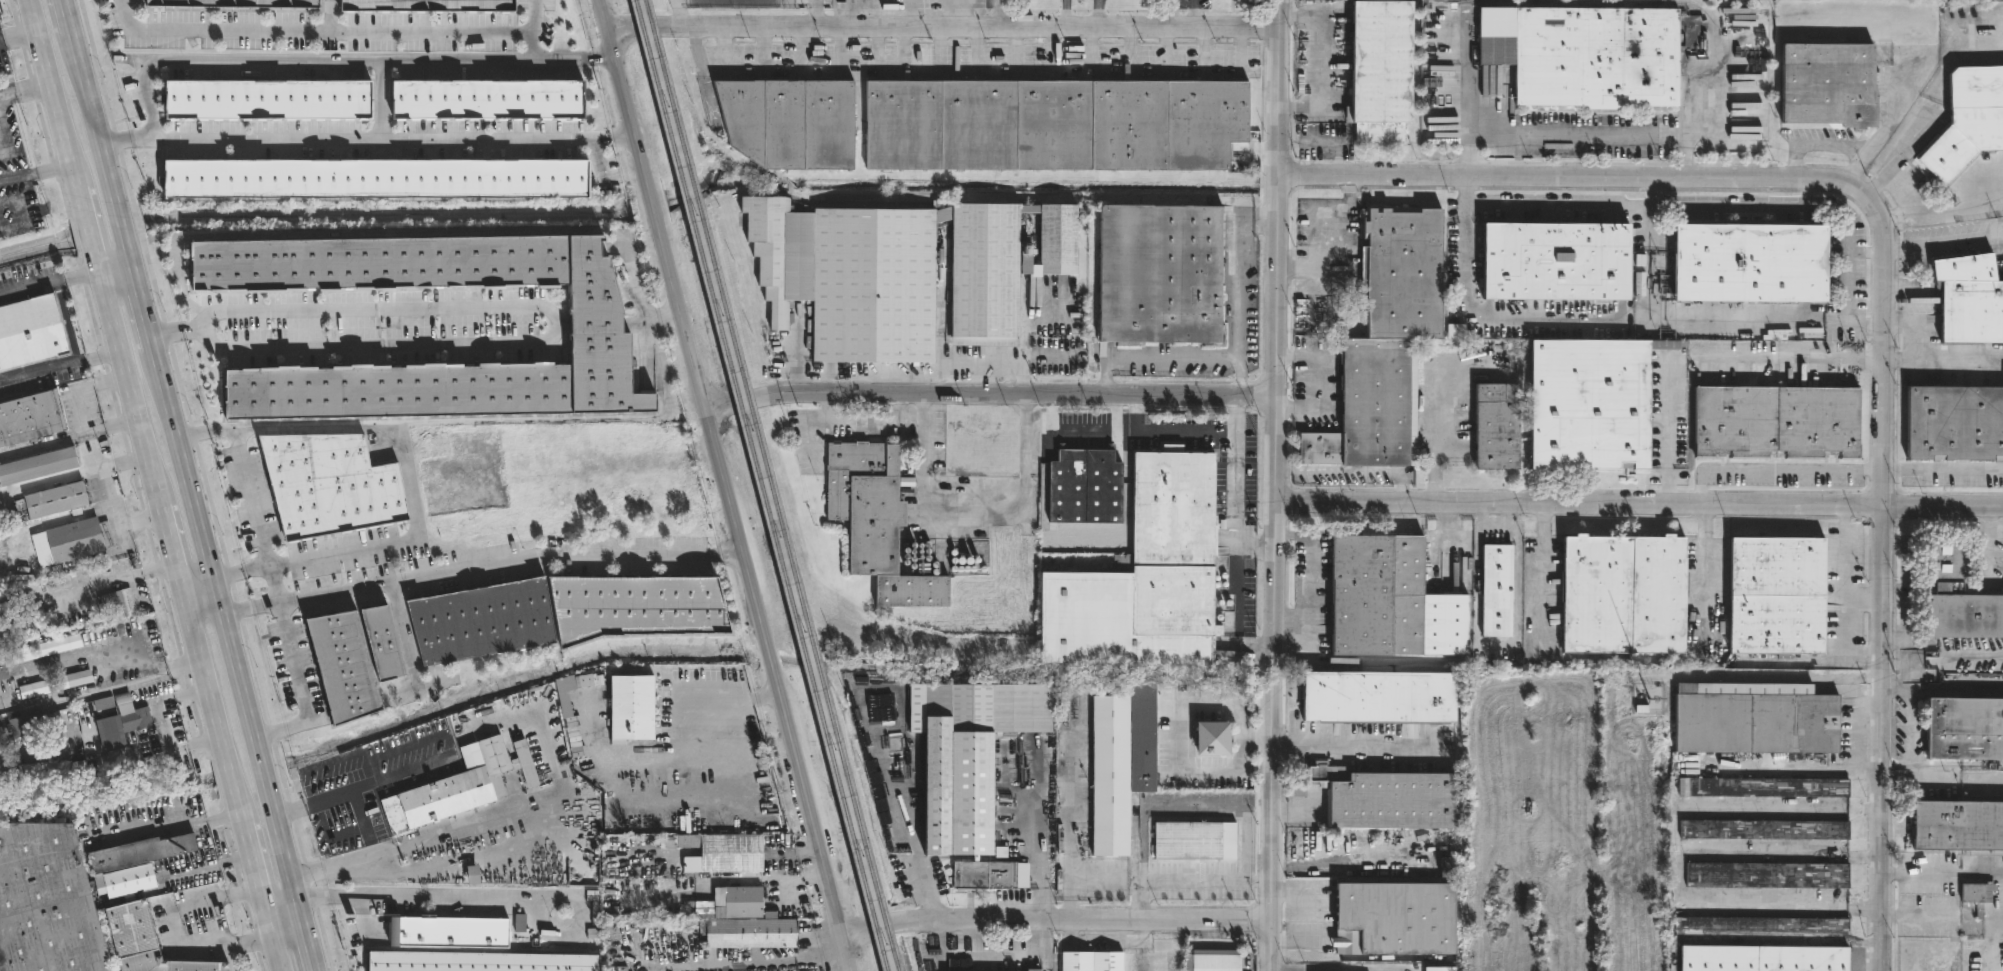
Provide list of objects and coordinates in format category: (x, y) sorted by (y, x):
park: (732, 2)
building: (238, 3)
building: (430, 5)
road: (678, 13)
road: (816, 13)
road: (997, 14)
road: (1065, 14)
road: (1100, 15)
road: (1169, 15)
road: (1189, 15)
road: (66, 16)
road: (945, 29)
road: (231, 31)
road: (430, 31)
road: (940, 46)
road: (762, 47)
road: (841, 47)
road: (878, 47)
road: (975, 47)
road: (1016, 47)
road: (803, 48)
road: (903, 48)
road: (1051, 48)
road: (1091, 48)
road: (1129, 48)
road: (1166, 48)
road: (1239, 48)
road: (1205, 49)
building: (1587, 58)
road: (298, 60)
road: (572, 60)
road: (712, 69)
building: (1377, 72)
building: (1826, 85)
road: (25, 90)
road: (706, 93)
road: (52, 95)
building: (486, 97)
building: (266, 98)
building: (784, 120)
building: (1967, 120)
building: (1049, 123)
road: (1575, 136)
road: (394, 140)
road: (100, 147)
road: (35, 172)
building: (374, 178)
railway: (948, 185)
road: (1903, 193)
road: (1744, 205)
road: (1574, 206)
road: (86, 231)
road: (394, 233)
building: (1551, 260)
building: (1747, 261)
road: (1847, 266)
road: (113, 267)
building: (898, 271)
building: (1156, 273)
road: (1239, 273)
road: (48, 284)
road: (1883, 285)
building: (1969, 299)
road: (141, 305)
road: (380, 309)
road: (1476, 314)
road: (1769, 315)
building: (595, 320)
road: (622, 321)
road: (68, 322)
road: (1917, 328)
road: (175, 331)
building: (32, 332)
building: (1382, 342)
road: (381, 345)
road: (1171, 360)
road: (1943, 362)
road: (58, 366)
road: (1103, 378)
road: (1239, 378)
road: (1321, 385)
road: (126, 388)
road: (991, 395)
building: (1588, 403)
road: (895, 408)
road: (84, 412)
road: (1234, 414)
building: (33, 417)
road: (859, 421)
building: (1775, 422)
building: (1953, 422)
building: (1493, 426)
road: (1434, 432)
road: (1668, 432)
road: (44, 443)
road: (401, 446)
road: (1234, 462)
building: (40, 466)
road: (1944, 467)
road: (1351, 472)
road: (1774, 474)
building: (327, 484)
road: (726, 485)
railway: (762, 485)
railway: (772, 485)
road: (1276, 485)
building: (1082, 487)
road: (249, 495)
building: (59, 500)
road: (1639, 503)
road: (973, 512)
building: (873, 524)
road: (166, 538)
building: (77, 541)
road: (1254, 544)
road: (1987, 552)
building: (920, 558)
building: (966, 564)
road: (481, 567)
road: (1705, 572)
building: (1140, 577)
road: (1541, 577)
road: (1311, 578)
road: (195, 579)
building: (1495, 591)
building: (1621, 594)
building: (1373, 595)
building: (1775, 596)
road: (1844, 596)
road: (1864, 596)
building: (1955, 596)
building: (121, 602)
building: (561, 613)
building: (6, 614)
road: (226, 627)
road: (405, 637)
road: (289, 642)
road: (1496, 647)
road: (1943, 659)
building: (352, 661)
building: (2, 669)
road: (1847, 679)
road: (100, 693)
building: (1376, 698)
road: (208, 699)
building: (631, 707)
building: (135, 717)
building: (1754, 719)
road: (1856, 722)
building: (25, 725)
road: (159, 726)
building: (1964, 729)
building: (1209, 739)
building: (0, 745)
road: (1177, 748)
road: (1348, 750)
road: (686, 753)
building: (964, 758)
building: (121, 762)
building: (1117, 764)
road: (1796, 769)
road: (362, 786)
building: (458, 788)
building: (1762, 788)
building: (1384, 799)
road: (1225, 812)
building: (1958, 827)
building: (1763, 830)
building: (1193, 841)
road: (465, 852)
building: (719, 853)
building: (133, 863)
building: (1449, 866)
road: (376, 872)
building: (1765, 875)
building: (991, 876)
road: (255, 881)
road: (1259, 882)
road: (769, 883)
road: (793, 895)
road: (486, 896)
building: (1976, 896)
building: (44, 903)
building: (740, 903)
building: (1392, 919)
road: (283, 920)
road: (1083, 922)
building: (1758, 924)
road: (877, 927)
road: (170, 930)
building: (451, 933)
road: (851, 933)
building: (748, 934)
road: (305, 939)
road: (1762, 939)
building: (141, 941)
road: (273, 952)
building: (1762, 958)
building: (479, 962)
building: (1088, 962)
building: (1214, 963)
building: (1439, 969)
building: (1029, 970)

